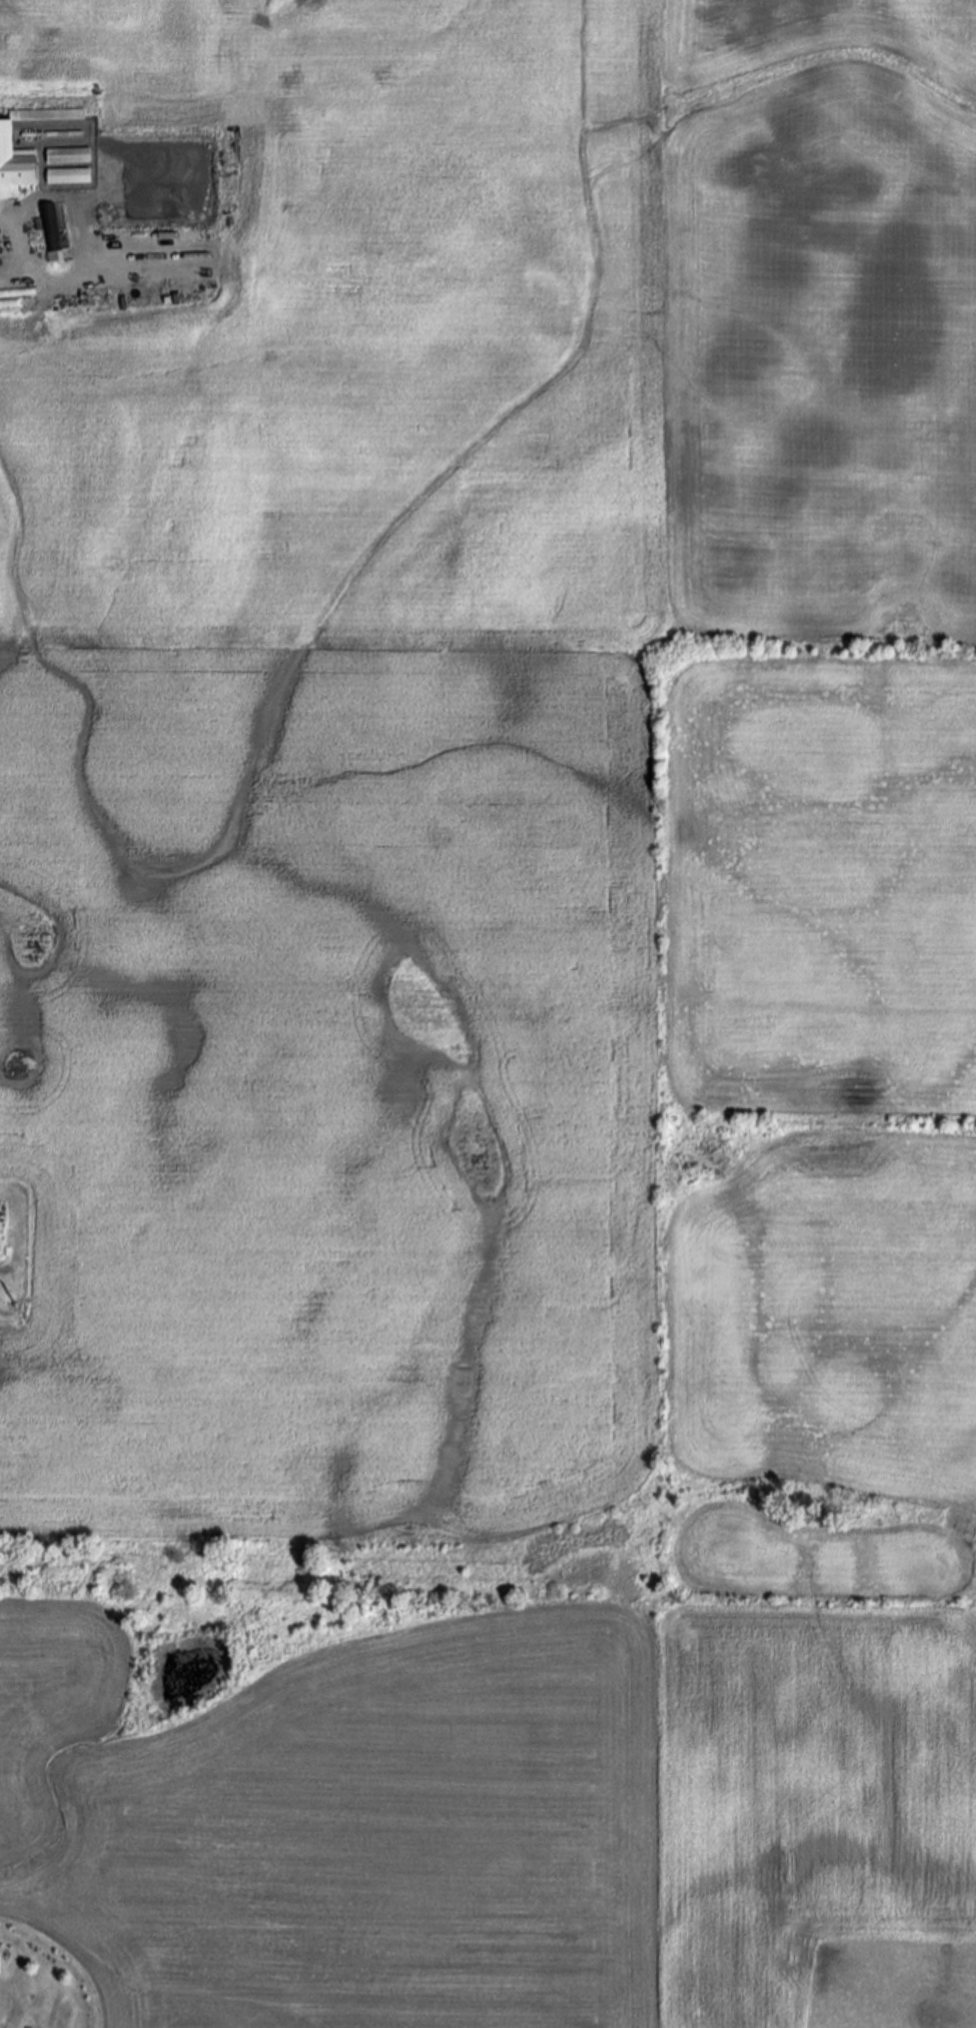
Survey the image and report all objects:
building: (67, 133)
building: (70, 156)
building: (16, 168)
building: (71, 176)
building: (51, 228)

